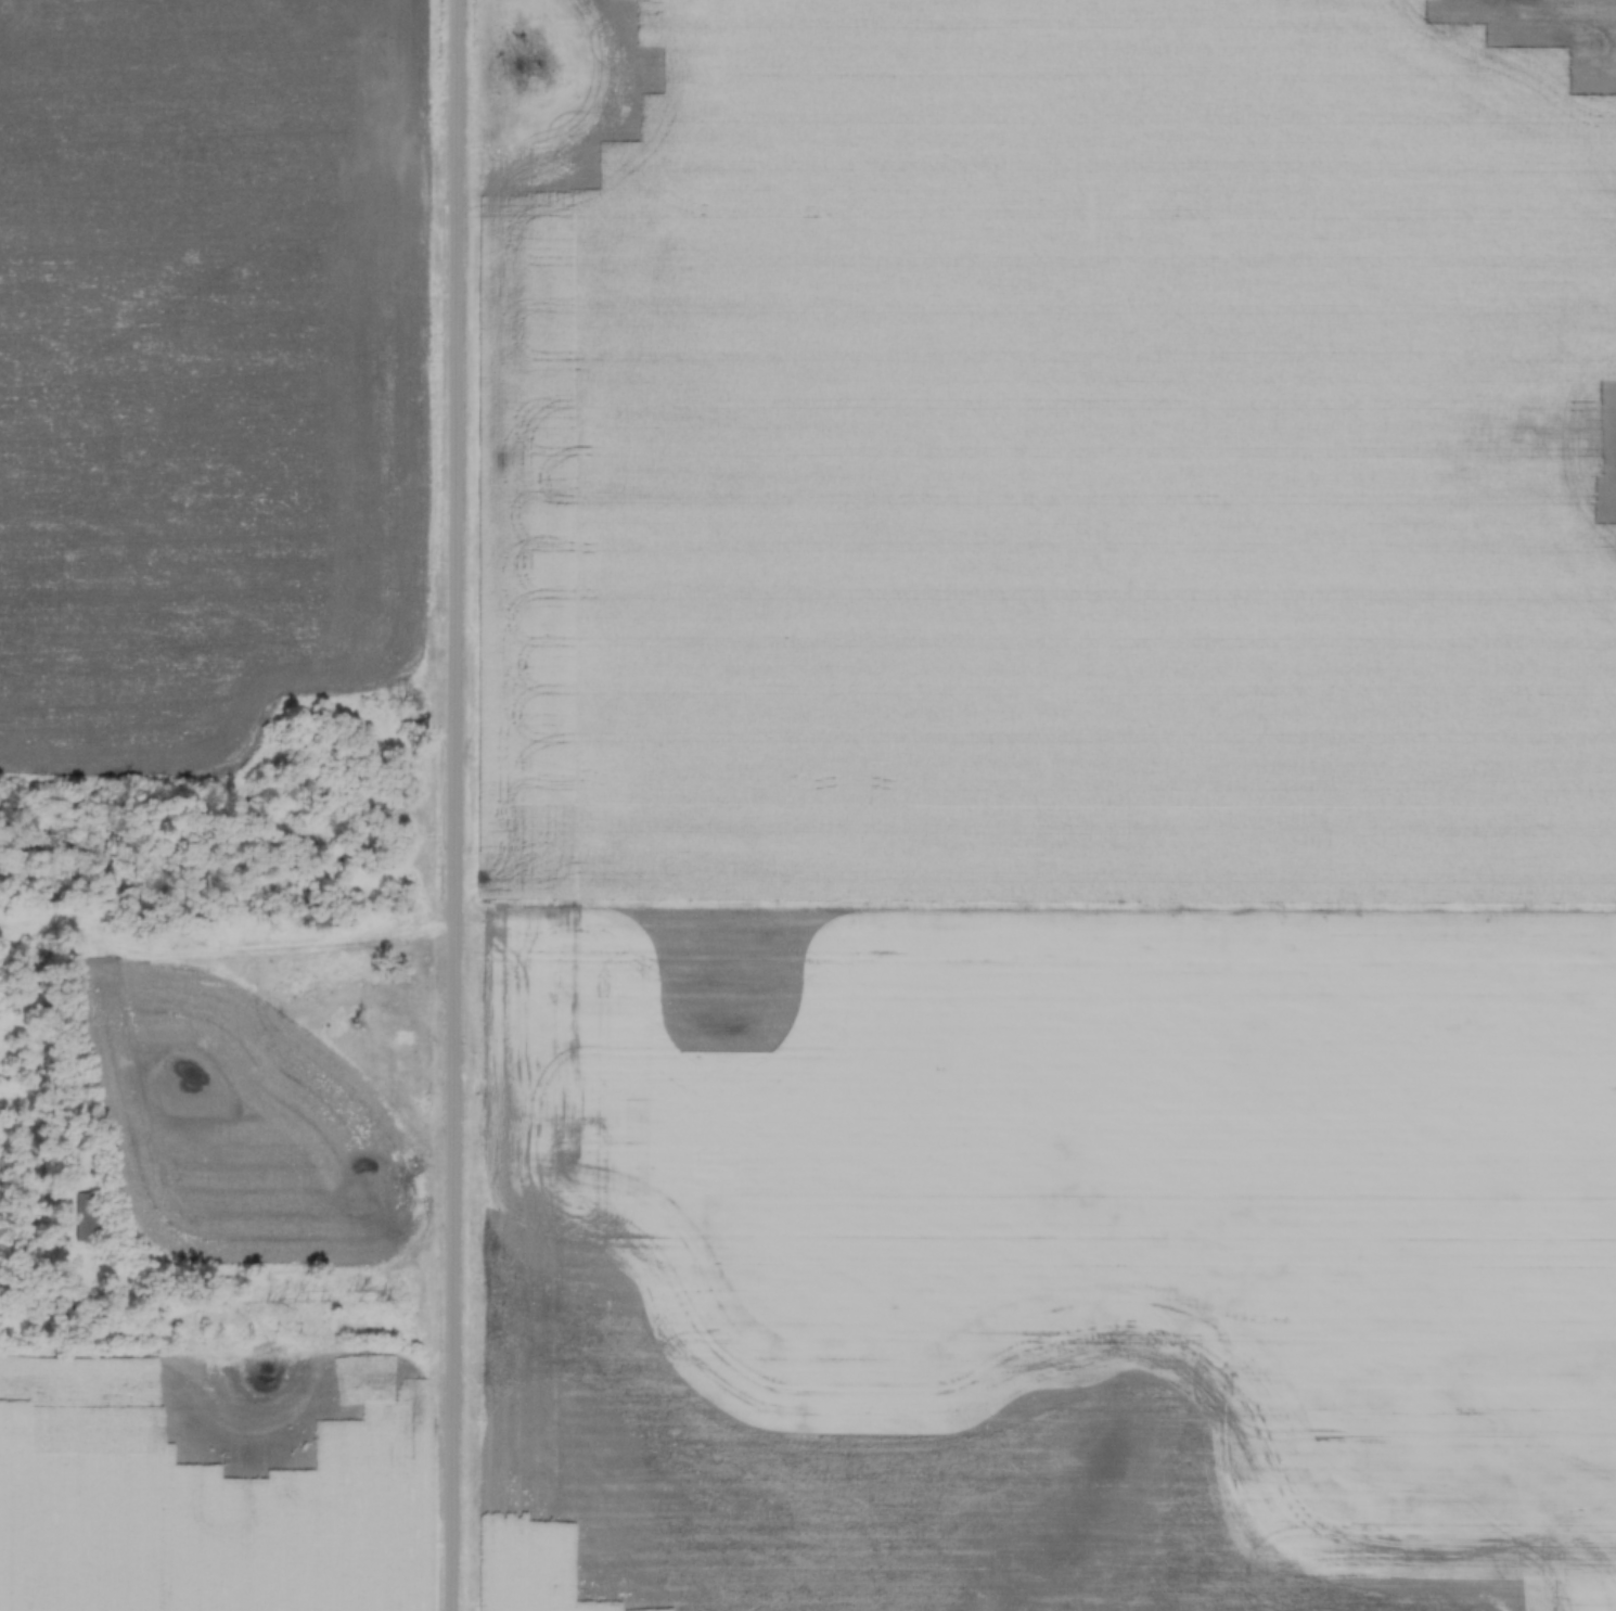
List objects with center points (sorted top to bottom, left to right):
road: (453, 805)
building: (85, 1216)

